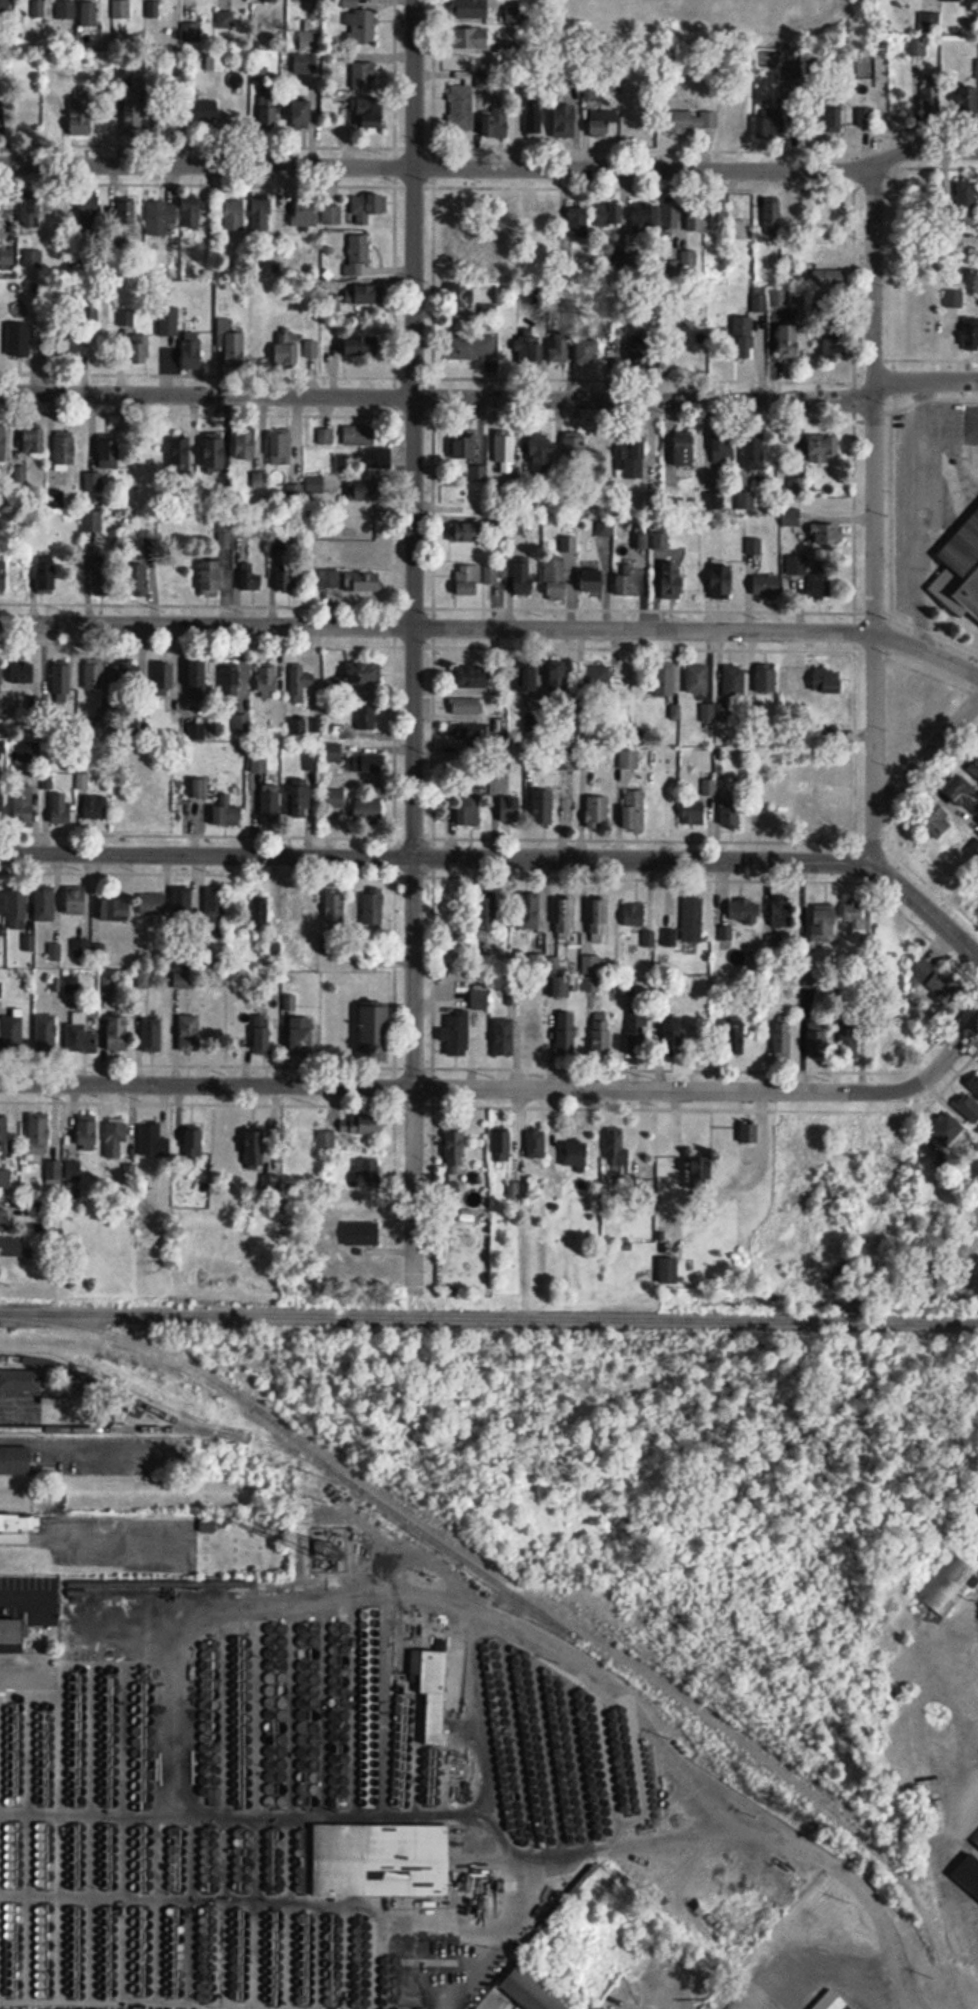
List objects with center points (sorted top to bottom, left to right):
building: (953, 0)
building: (271, 1)
building: (304, 2)
building: (353, 4)
building: (5, 6)
building: (35, 9)
building: (65, 9)
building: (121, 9)
building: (470, 9)
building: (88, 15)
building: (224, 20)
building: (930, 23)
building: (361, 26)
building: (471, 37)
building: (917, 46)
building: (214, 62)
building: (305, 64)
building: (364, 75)
building: (931, 101)
building: (968, 101)
building: (461, 108)
building: (206, 109)
building: (133, 111)
building: (371, 112)
building: (302, 113)
building: (82, 115)
building: (267, 115)
building: (2, 116)
building: (173, 116)
building: (834, 117)
building: (534, 118)
building: (693, 119)
building: (866, 119)
building: (566, 121)
building: (499, 122)
building: (603, 122)
building: (767, 128)
road: (490, 167)
building: (966, 202)
building: (368, 208)
building: (90, 210)
building: (31, 211)
building: (771, 211)
building: (191, 212)
building: (263, 212)
building: (304, 213)
building: (547, 213)
building: (127, 214)
building: (234, 214)
building: (332, 214)
building: (610, 214)
building: (646, 215)
building: (672, 215)
building: (731, 215)
building: (694, 216)
building: (161, 218)
building: (578, 218)
building: (838, 220)
building: (458, 227)
building: (496, 247)
building: (360, 250)
building: (832, 251)
building: (7, 256)
building: (33, 257)
building: (462, 260)
building: (793, 273)
building: (829, 277)
building: (365, 295)
building: (463, 296)
building: (779, 298)
building: (126, 315)
building: (169, 321)
building: (971, 333)
building: (683, 334)
building: (743, 337)
building: (19, 340)
building: (789, 341)
building: (362, 346)
building: (834, 347)
building: (529, 348)
building: (558, 348)
building: (587, 348)
building: (643, 348)
building: (234, 349)
building: (289, 349)
building: (311, 349)
building: (68, 350)
building: (139, 350)
building: (193, 351)
building: (462, 354)
road: (925, 381)
road: (436, 396)
road: (413, 429)
building: (359, 435)
building: (325, 437)
building: (29, 442)
building: (3, 444)
building: (723, 445)
building: (65, 448)
building: (281, 448)
building: (822, 448)
building: (251, 449)
building: (463, 449)
building: (111, 450)
building: (686, 450)
building: (574, 452)
building: (505, 453)
building: (541, 454)
building: (754, 455)
building: (215, 456)
building: (183, 459)
building: (633, 461)
building: (363, 462)
building: (475, 474)
building: (20, 475)
building: (315, 484)
building: (797, 486)
building: (364, 491)
building: (295, 493)
building: (745, 500)
road: (872, 513)
building: (791, 517)
building: (365, 526)
building: (472, 533)
building: (522, 533)
building: (827, 534)
building: (224, 541)
building: (753, 546)
building: (366, 556)
building: (960, 572)
building: (3, 575)
building: (47, 577)
building: (103, 577)
building: (492, 577)
building: (211, 578)
building: (251, 579)
building: (287, 579)
building: (523, 579)
building: (555, 579)
building: (468, 580)
building: (332, 581)
building: (594, 581)
building: (629, 581)
building: (673, 581)
building: (367, 582)
building: (722, 582)
building: (823, 584)
building: (768, 585)
road: (474, 628)
road: (960, 669)
building: (23, 673)
building: (129, 675)
building: (95, 677)
building: (354, 677)
building: (472, 677)
building: (529, 677)
building: (597, 678)
building: (697, 679)
building: (766, 679)
building: (62, 680)
building: (165, 680)
building: (268, 680)
building: (560, 680)
building: (734, 680)
building: (198, 681)
building: (664, 681)
building: (827, 681)
building: (232, 682)
building: (301, 682)
building: (2, 689)
building: (467, 706)
building: (367, 718)
building: (299, 729)
building: (474, 731)
building: (195, 732)
building: (829, 736)
building: (2, 750)
building: (333, 752)
road: (925, 756)
building: (629, 759)
building: (259, 763)
building: (312, 763)
building: (366, 764)
building: (830, 764)
building: (973, 768)
building: (199, 789)
building: (960, 790)
building: (334, 798)
building: (300, 799)
building: (270, 801)
building: (544, 805)
building: (24, 806)
building: (95, 807)
building: (470, 807)
building: (818, 807)
building: (2, 808)
building: (61, 808)
building: (510, 808)
building: (634, 809)
building: (598, 810)
building: (369, 811)
building: (694, 812)
building: (730, 812)
building: (152, 813)
building: (227, 813)
building: (936, 821)
building: (974, 849)
road: (206, 856)
road: (713, 861)
building: (77, 900)
building: (2, 902)
building: (182, 902)
building: (46, 904)
building: (153, 904)
building: (216, 905)
building: (374, 907)
building: (18, 908)
building: (115, 909)
building: (298, 909)
building: (335, 909)
building: (488, 909)
building: (530, 911)
building: (743, 911)
building: (782, 911)
building: (260, 914)
building: (634, 915)
building: (564, 916)
building: (853, 916)
building: (598, 919)
building: (692, 920)
building: (824, 920)
building: (869, 942)
building: (935, 980)
building: (1, 987)
building: (565, 988)
building: (479, 1001)
building: (376, 1028)
building: (637, 1030)
building: (119, 1032)
building: (566, 1032)
building: (602, 1032)
building: (47, 1033)
building: (190, 1033)
building: (262, 1033)
building: (459, 1033)
building: (11, 1034)
building: (673, 1034)
building: (152, 1035)
building: (737, 1035)
building: (301, 1036)
building: (504, 1037)
building: (782, 1037)
building: (816, 1038)
building: (81, 1039)
building: (533, 1039)
building: (849, 1039)
road: (959, 1041)
road: (413, 1077)
building: (974, 1083)
road: (475, 1088)
building: (967, 1108)
building: (362, 1124)
building: (946, 1129)
building: (749, 1132)
building: (39, 1134)
building: (83, 1134)
building: (4, 1136)
building: (116, 1138)
building: (194, 1139)
building: (153, 1140)
building: (502, 1144)
building: (536, 1144)
building: (253, 1149)
building: (455, 1149)
building: (617, 1152)
building: (576, 1153)
building: (73, 1170)
building: (53, 1172)
building: (702, 1172)
building: (367, 1177)
building: (4, 1178)
building: (36, 1208)
building: (4, 1216)
building: (362, 1234)
railway: (489, 1318)
building: (20, 1381)
railway: (179, 1420)
railway: (114, 1432)
railway: (314, 1450)
building: (15, 1462)
building: (17, 1523)
building: (948, 1584)
building: (13, 1631)
building: (436, 1695)
building: (975, 1838)
building: (382, 1861)
building: (530, 1992)
building: (832, 2001)
building: (601, 2007)

